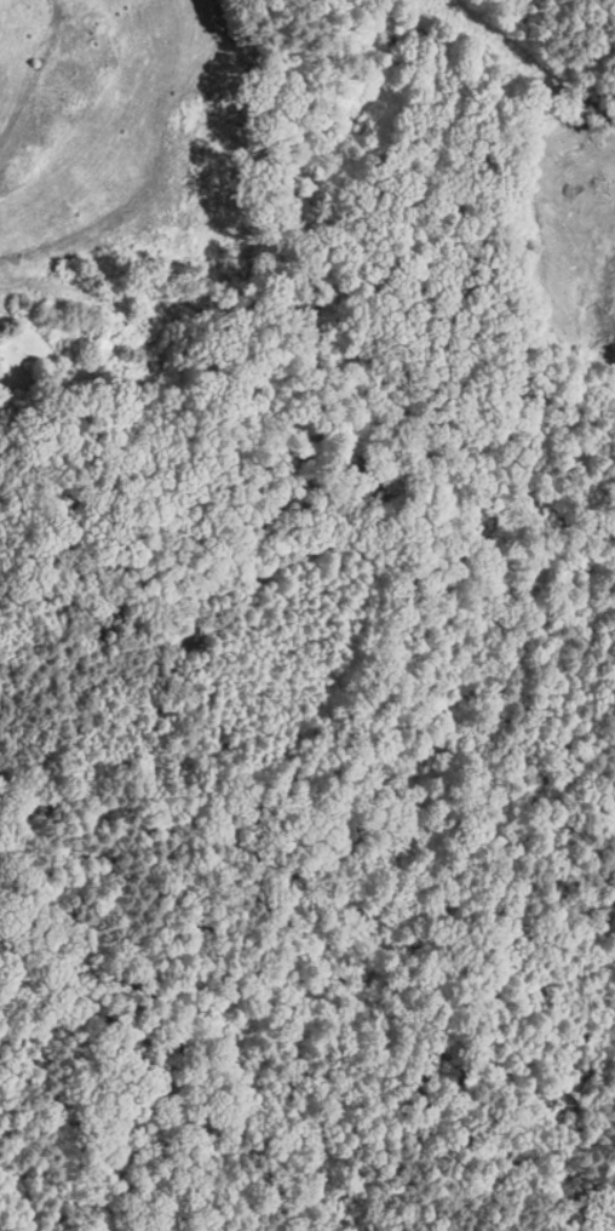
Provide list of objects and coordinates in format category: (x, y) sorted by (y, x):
building: (0, 372)

